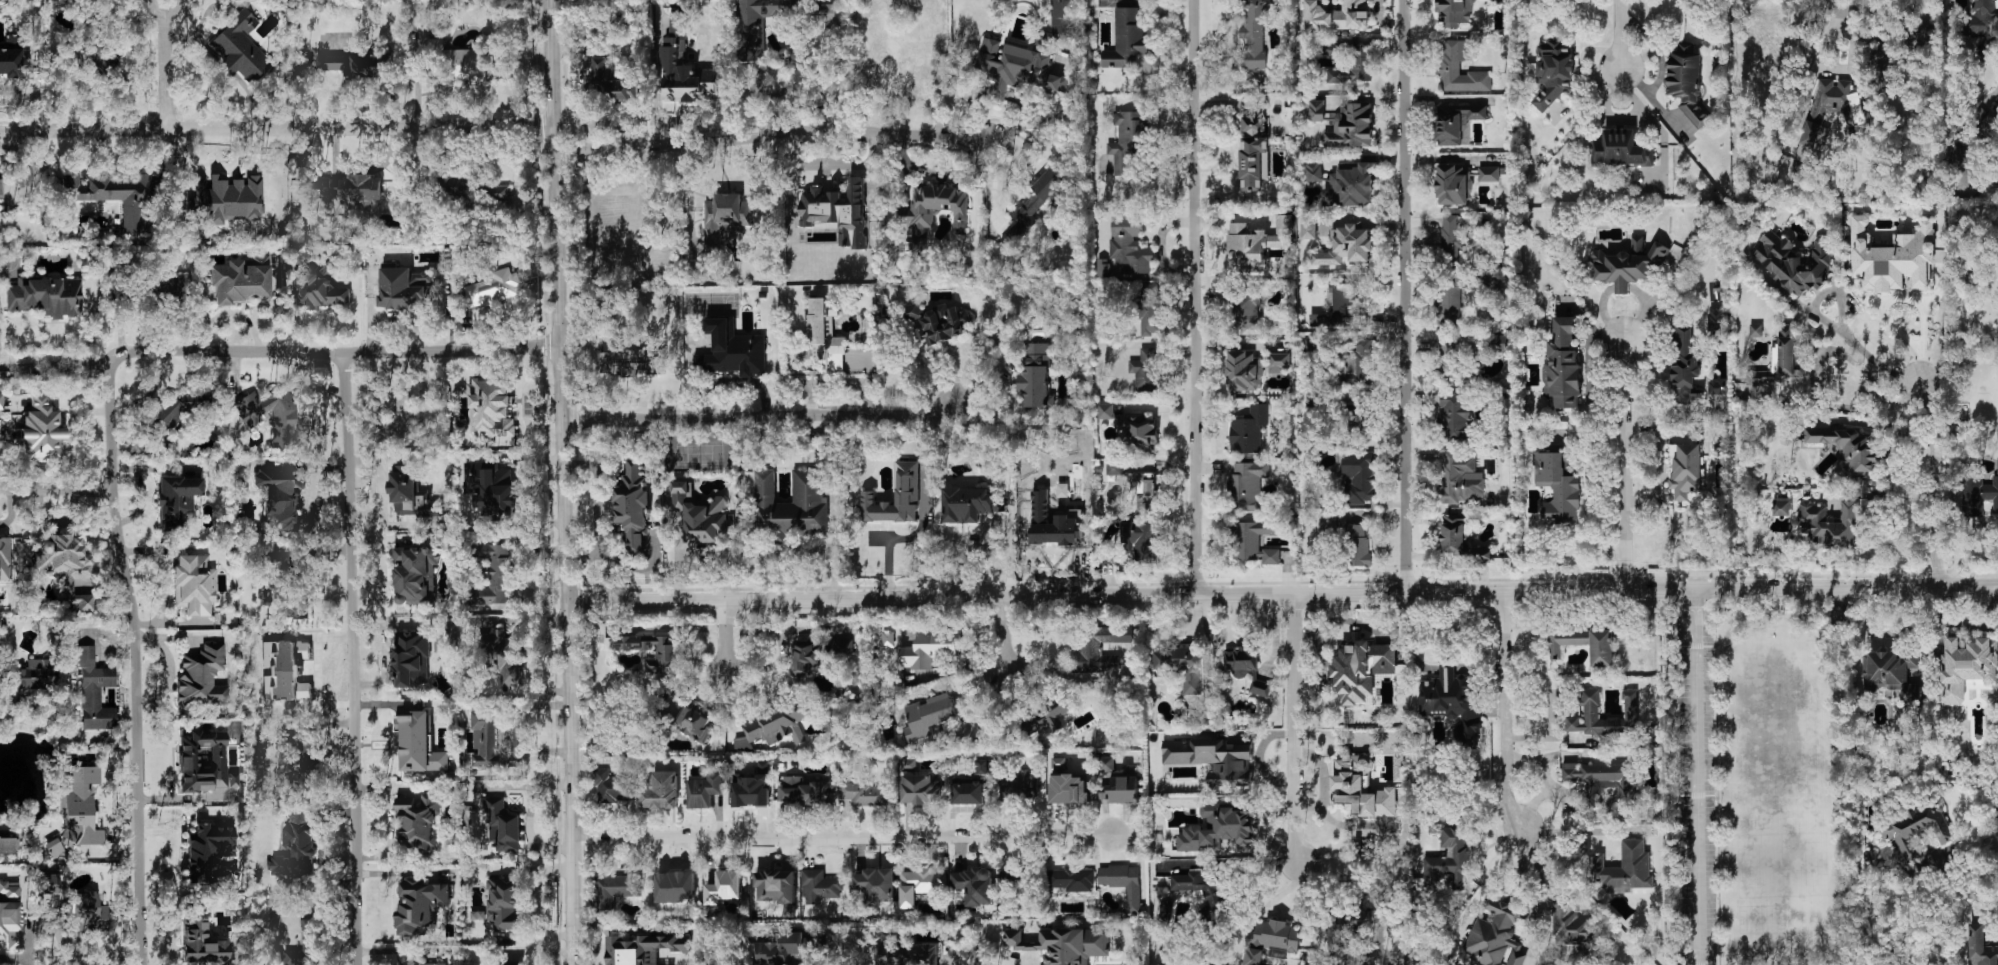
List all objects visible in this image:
road: (164, 1)
building: (1454, 12)
road: (1841, 13)
building: (830, 14)
building: (1337, 15)
building: (1063, 18)
building: (757, 25)
building: (1255, 30)
road: (1622, 35)
building: (1126, 37)
building: (240, 48)
building: (1764, 48)
road: (1233, 57)
building: (13, 58)
building: (101, 59)
building: (352, 63)
building: (465, 63)
road: (168, 65)
building: (684, 66)
building: (1017, 67)
building: (1353, 67)
building: (1459, 68)
building: (1552, 71)
building: (1686, 80)
building: (613, 84)
road: (25, 100)
building: (1833, 108)
building: (1316, 110)
building: (1991, 120)
building: (1456, 121)
building: (1350, 125)
road: (277, 127)
road: (769, 133)
building: (1127, 141)
building: (1619, 148)
building: (1254, 152)
building: (1313, 171)
building: (1488, 173)
building: (1454, 184)
building: (456, 186)
building: (1350, 187)
building: (1, 188)
building: (352, 189)
building: (500, 192)
building: (116, 196)
building: (1037, 199)
building: (838, 210)
building: (918, 216)
building: (723, 217)
building: (1315, 227)
building: (621, 230)
building: (1453, 238)
building: (1128, 244)
building: (1347, 245)
building: (1892, 256)
building: (1795, 262)
building: (1628, 264)
building: (1103, 267)
building: (241, 281)
building: (174, 285)
building: (320, 288)
building: (403, 288)
building: (492, 288)
road: (1406, 295)
building: (47, 296)
road: (1193, 296)
building: (1451, 297)
building: (1342, 308)
building: (1150, 309)
building: (1247, 309)
road: (356, 312)
road: (231, 313)
road: (312, 317)
building: (939, 322)
building: (1717, 322)
road: (1831, 327)
building: (1755, 330)
road: (40, 331)
building: (825, 334)
building: (1499, 342)
road: (276, 350)
building: (731, 350)
building: (1447, 359)
building: (632, 361)
building: (1279, 362)
building: (1358, 363)
building: (1685, 363)
building: (1563, 364)
building: (1146, 369)
building: (1244, 371)
building: (1036, 375)
road: (1874, 383)
building: (1717, 387)
building: (1, 404)
building: (491, 408)
building: (1105, 410)
road: (765, 414)
building: (272, 416)
building: (172, 417)
building: (1455, 417)
building: (398, 420)
building: (40, 430)
building: (1249, 430)
building: (1137, 432)
building: (1847, 448)
road: (1626, 462)
building: (1113, 467)
building: (1686, 470)
building: (906, 475)
building: (1358, 476)
building: (1460, 478)
road: (1935, 480)
road: (566, 482)
building: (1246, 485)
building: (1557, 485)
building: (491, 489)
road: (55, 490)
building: (1144, 490)
building: (410, 493)
building: (1978, 495)
building: (281, 497)
building: (176, 500)
building: (967, 503)
building: (632, 505)
building: (791, 505)
building: (1781, 506)
road: (596, 507)
road: (12, 511)
building: (700, 514)
building: (1040, 516)
building: (1326, 524)
building: (1830, 524)
building: (1461, 538)
building: (1253, 541)
road: (1959, 541)
building: (1134, 543)
building: (1357, 545)
road: (699, 550)
building: (4, 559)
building: (65, 566)
building: (491, 573)
building: (415, 575)
building: (194, 585)
building: (290, 587)
road: (1282, 592)
road: (785, 628)
road: (1002, 631)
road: (723, 636)
building: (888, 638)
building: (1566, 640)
building: (843, 646)
building: (931, 646)
building: (1602, 647)
building: (1098, 648)
building: (665, 654)
road: (354, 657)
building: (503, 657)
building: (805, 657)
building: (410, 658)
road: (137, 663)
building: (1968, 665)
building: (1182, 666)
building: (1246, 668)
building: (1361, 669)
building: (286, 670)
building: (1891, 672)
building: (32, 675)
building: (202, 677)
building: (94, 692)
building: (1453, 702)
road: (1507, 704)
building: (1592, 711)
building: (928, 715)
building: (1047, 715)
road: (24, 721)
building: (695, 723)
building: (775, 724)
road: (1293, 728)
building: (418, 743)
building: (306, 752)
building: (1213, 758)
building: (205, 762)
building: (1106, 763)
building: (982, 766)
road: (1696, 775)
building: (1602, 778)
building: (1020, 783)
building: (613, 786)
building: (1361, 787)
building: (922, 788)
building: (1069, 788)
building: (1124, 789)
building: (661, 790)
building: (704, 790)
building: (971, 790)
building: (751, 791)
building: (799, 791)
building: (866, 793)
building: (79, 806)
road: (531, 815)
building: (418, 821)
building: (502, 826)
building: (1218, 829)
road: (1569, 830)
building: (1917, 830)
road: (841, 839)
building: (7, 842)
building: (296, 846)
building: (54, 848)
building: (208, 851)
building: (1448, 857)
building: (1625, 868)
road: (1993, 869)
building: (1072, 879)
building: (1123, 883)
building: (47, 884)
building: (876, 884)
building: (776, 885)
building: (920, 885)
building: (975, 885)
building: (676, 886)
building: (724, 886)
building: (819, 886)
building: (616, 889)
road: (535, 900)
building: (505, 902)
building: (1214, 903)
building: (420, 904)
building: (1165, 910)
building: (84, 914)
building: (10, 915)
building: (1381, 915)
building: (1571, 923)
building: (1495, 936)
building: (1271, 941)
building: (1064, 944)
building: (202, 945)
building: (305, 945)
building: (1981, 946)
building: (642, 948)
road: (550, 949)
building: (780, 950)
building: (905, 953)
road: (142, 963)
building: (434, 963)

